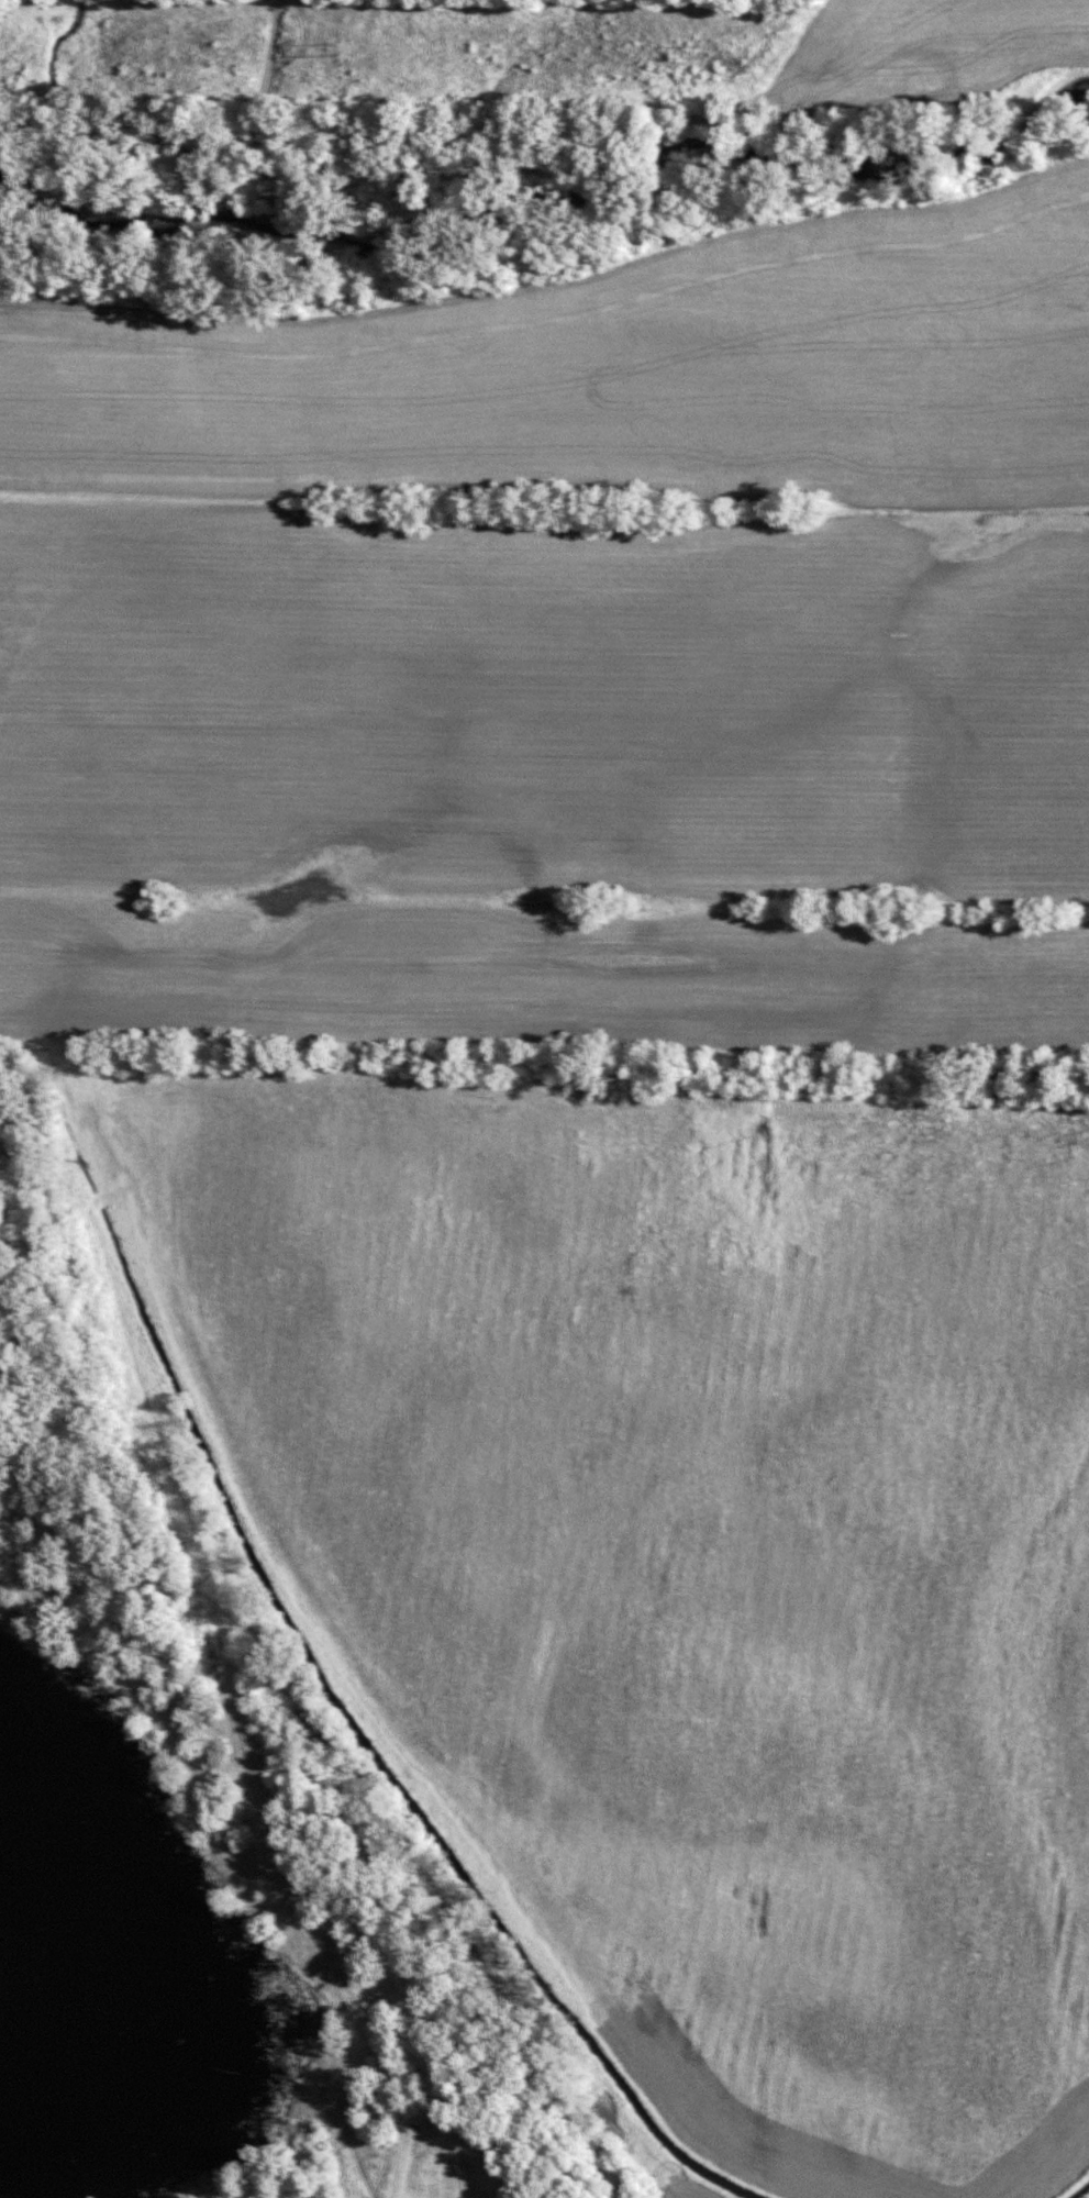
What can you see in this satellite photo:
power tower: (332, 49)
power tower: (698, 49)

